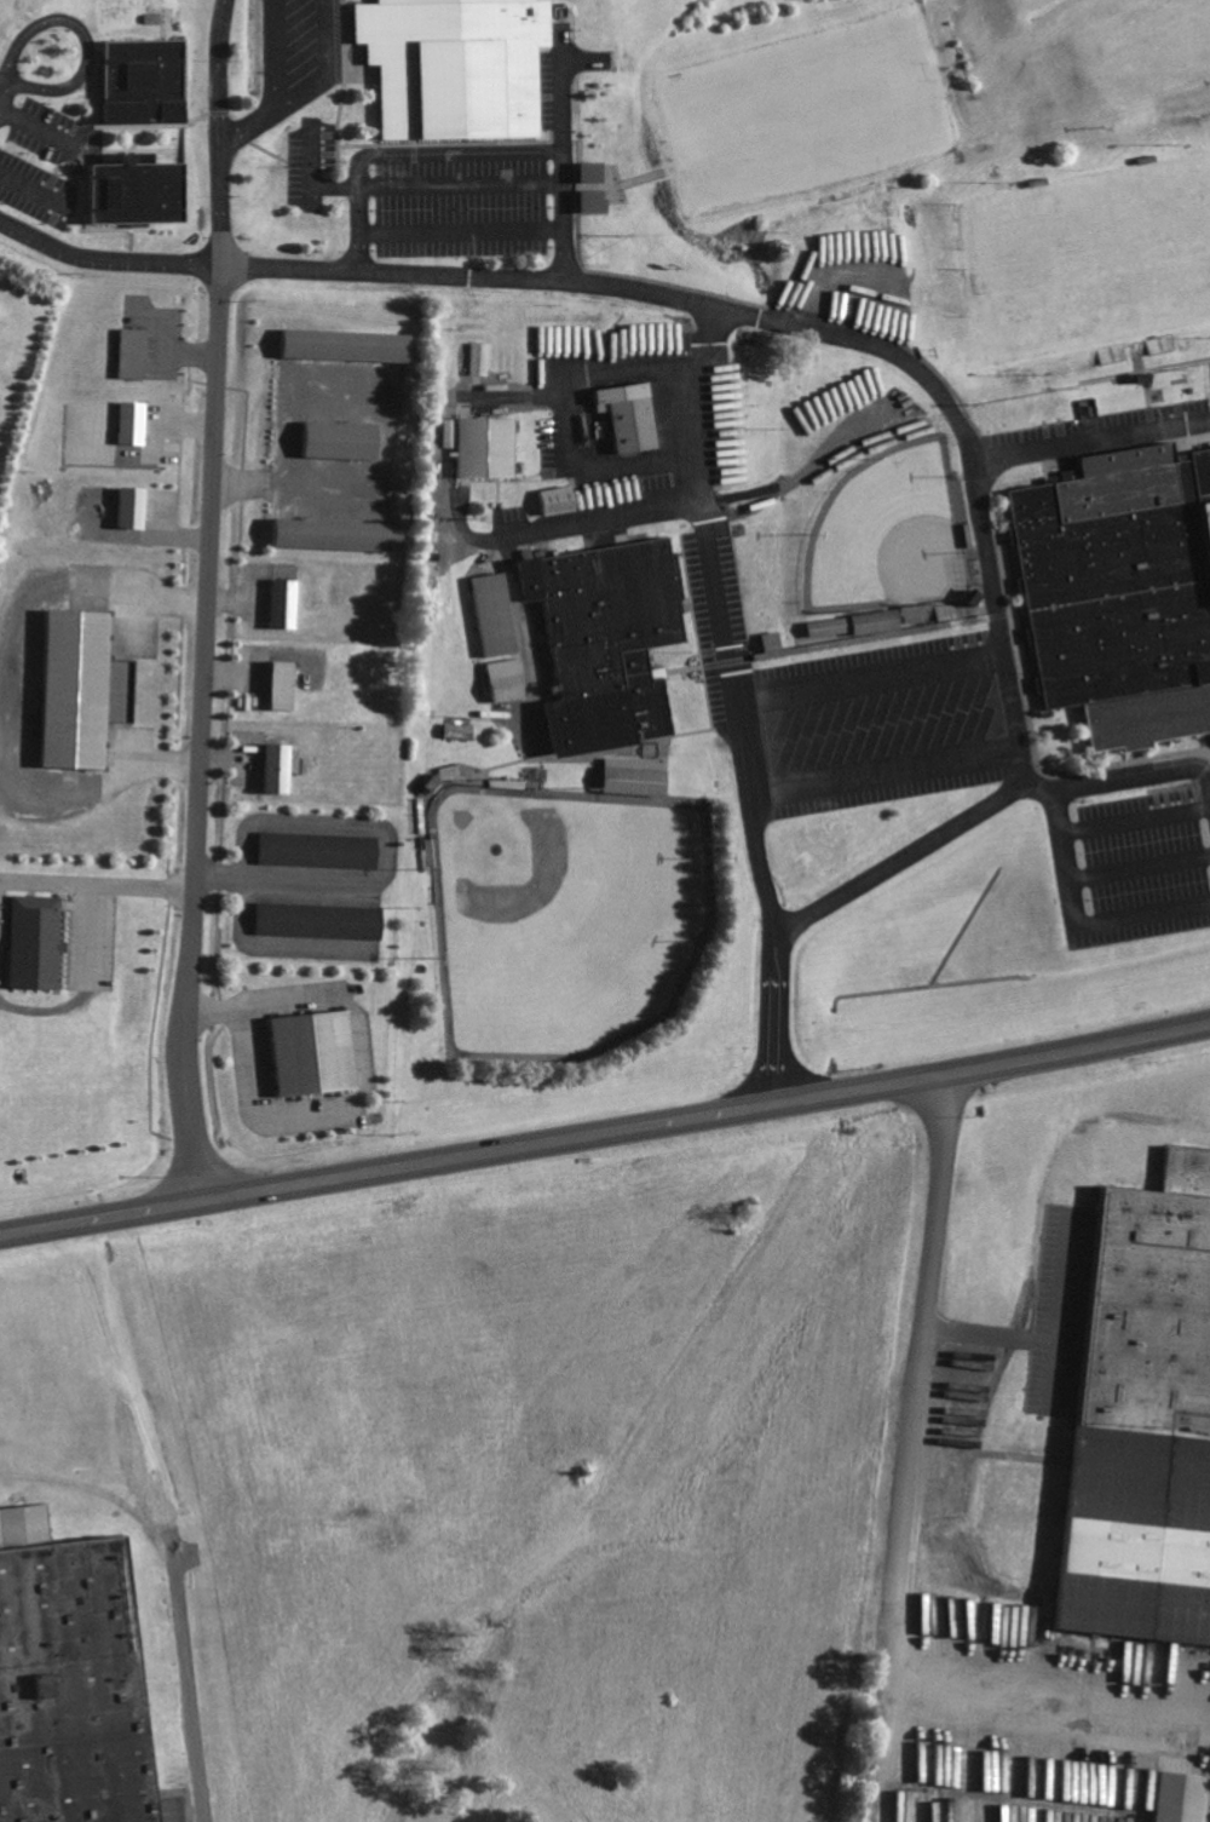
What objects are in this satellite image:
road: (83, 35)
road: (219, 56)
road: (276, 56)
building: (460, 65)
road: (330, 69)
building: (148, 80)
road: (2, 93)
road: (39, 126)
road: (221, 128)
road: (313, 160)
road: (563, 168)
building: (594, 171)
road: (438, 183)
building: (142, 190)
building: (595, 200)
road: (363, 225)
park: (1096, 252)
road: (514, 275)
building: (350, 344)
building: (134, 352)
building: (482, 358)
building: (633, 415)
building: (133, 423)
building: (345, 439)
building: (486, 446)
road: (702, 494)
building: (563, 500)
road: (976, 504)
building: (133, 506)
building: (340, 534)
park: (883, 534)
road: (79, 584)
building: (1117, 593)
building: (286, 603)
building: (499, 614)
building: (916, 614)
building: (859, 623)
road: (860, 637)
road: (208, 642)
building: (611, 642)
building: (776, 642)
building: (509, 680)
building: (284, 685)
building: (85, 689)
road: (732, 711)
building: (461, 731)
building: (280, 768)
building: (639, 776)
road: (83, 794)
road: (990, 814)
building: (321, 850)
parking lot: (1141, 860)
road: (283, 880)
road: (105, 890)
park: (558, 915)
building: (322, 920)
road: (1077, 926)
building: (38, 942)
road: (778, 1015)
building: (316, 1053)
road: (605, 1137)
building: (1148, 1415)
road: (907, 1525)
building: (64, 1689)
building: (1185, 1797)

